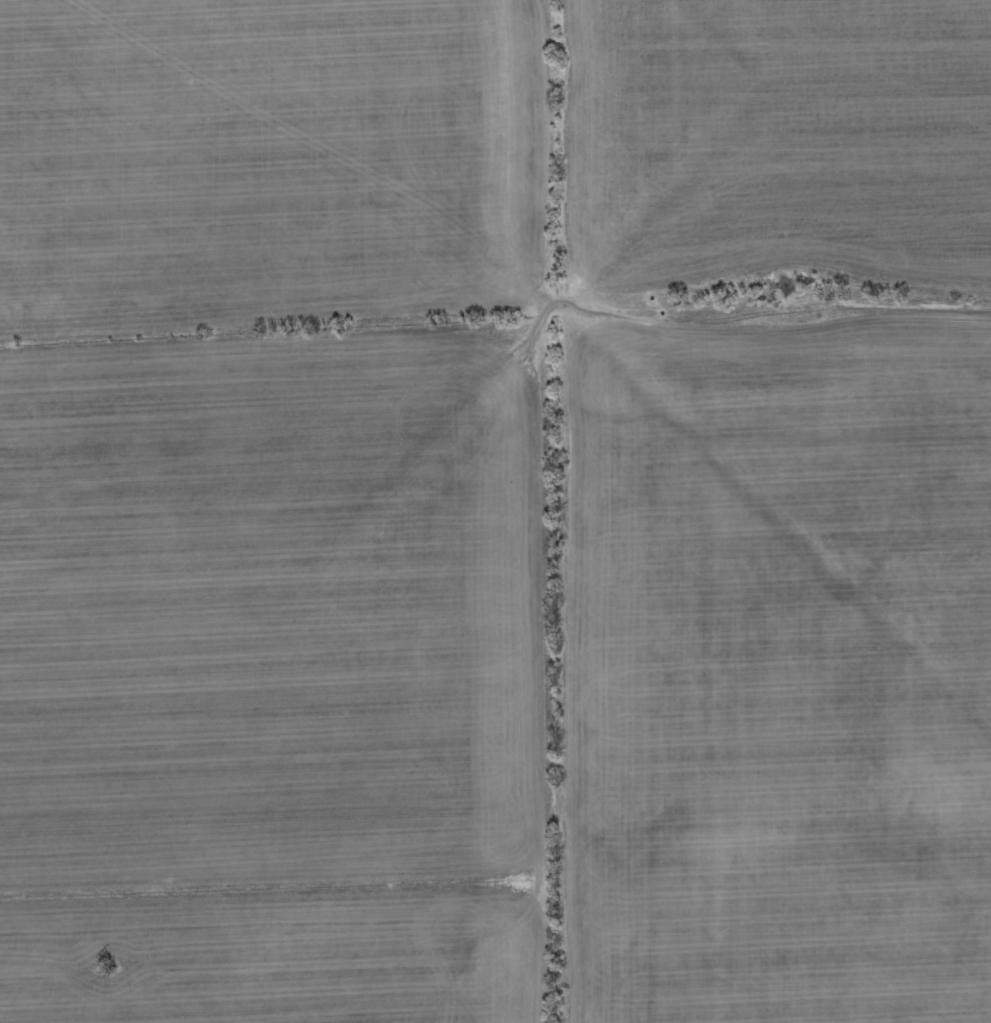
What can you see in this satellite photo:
power tower: (103, 970)

